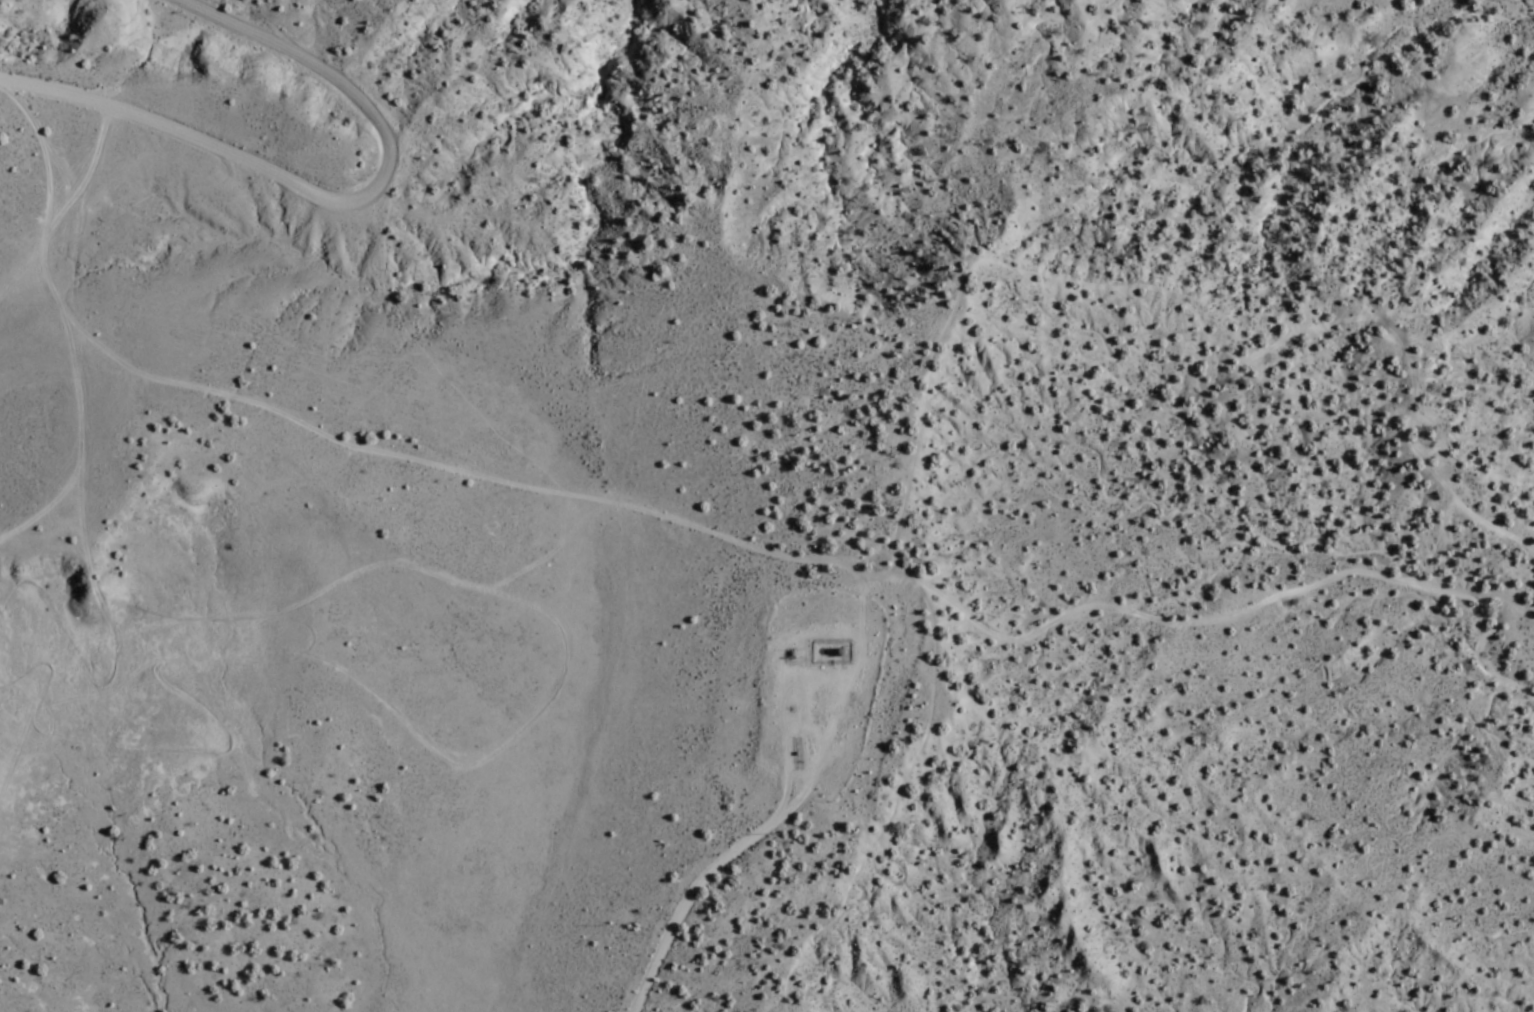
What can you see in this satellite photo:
road: (78, 172)
road: (328, 205)
road: (1175, 301)
road: (70, 438)
road: (681, 526)
road: (300, 599)
road: (857, 644)
road: (260, 651)
road: (25, 696)
road: (776, 720)
road: (890, 816)
road: (729, 854)

